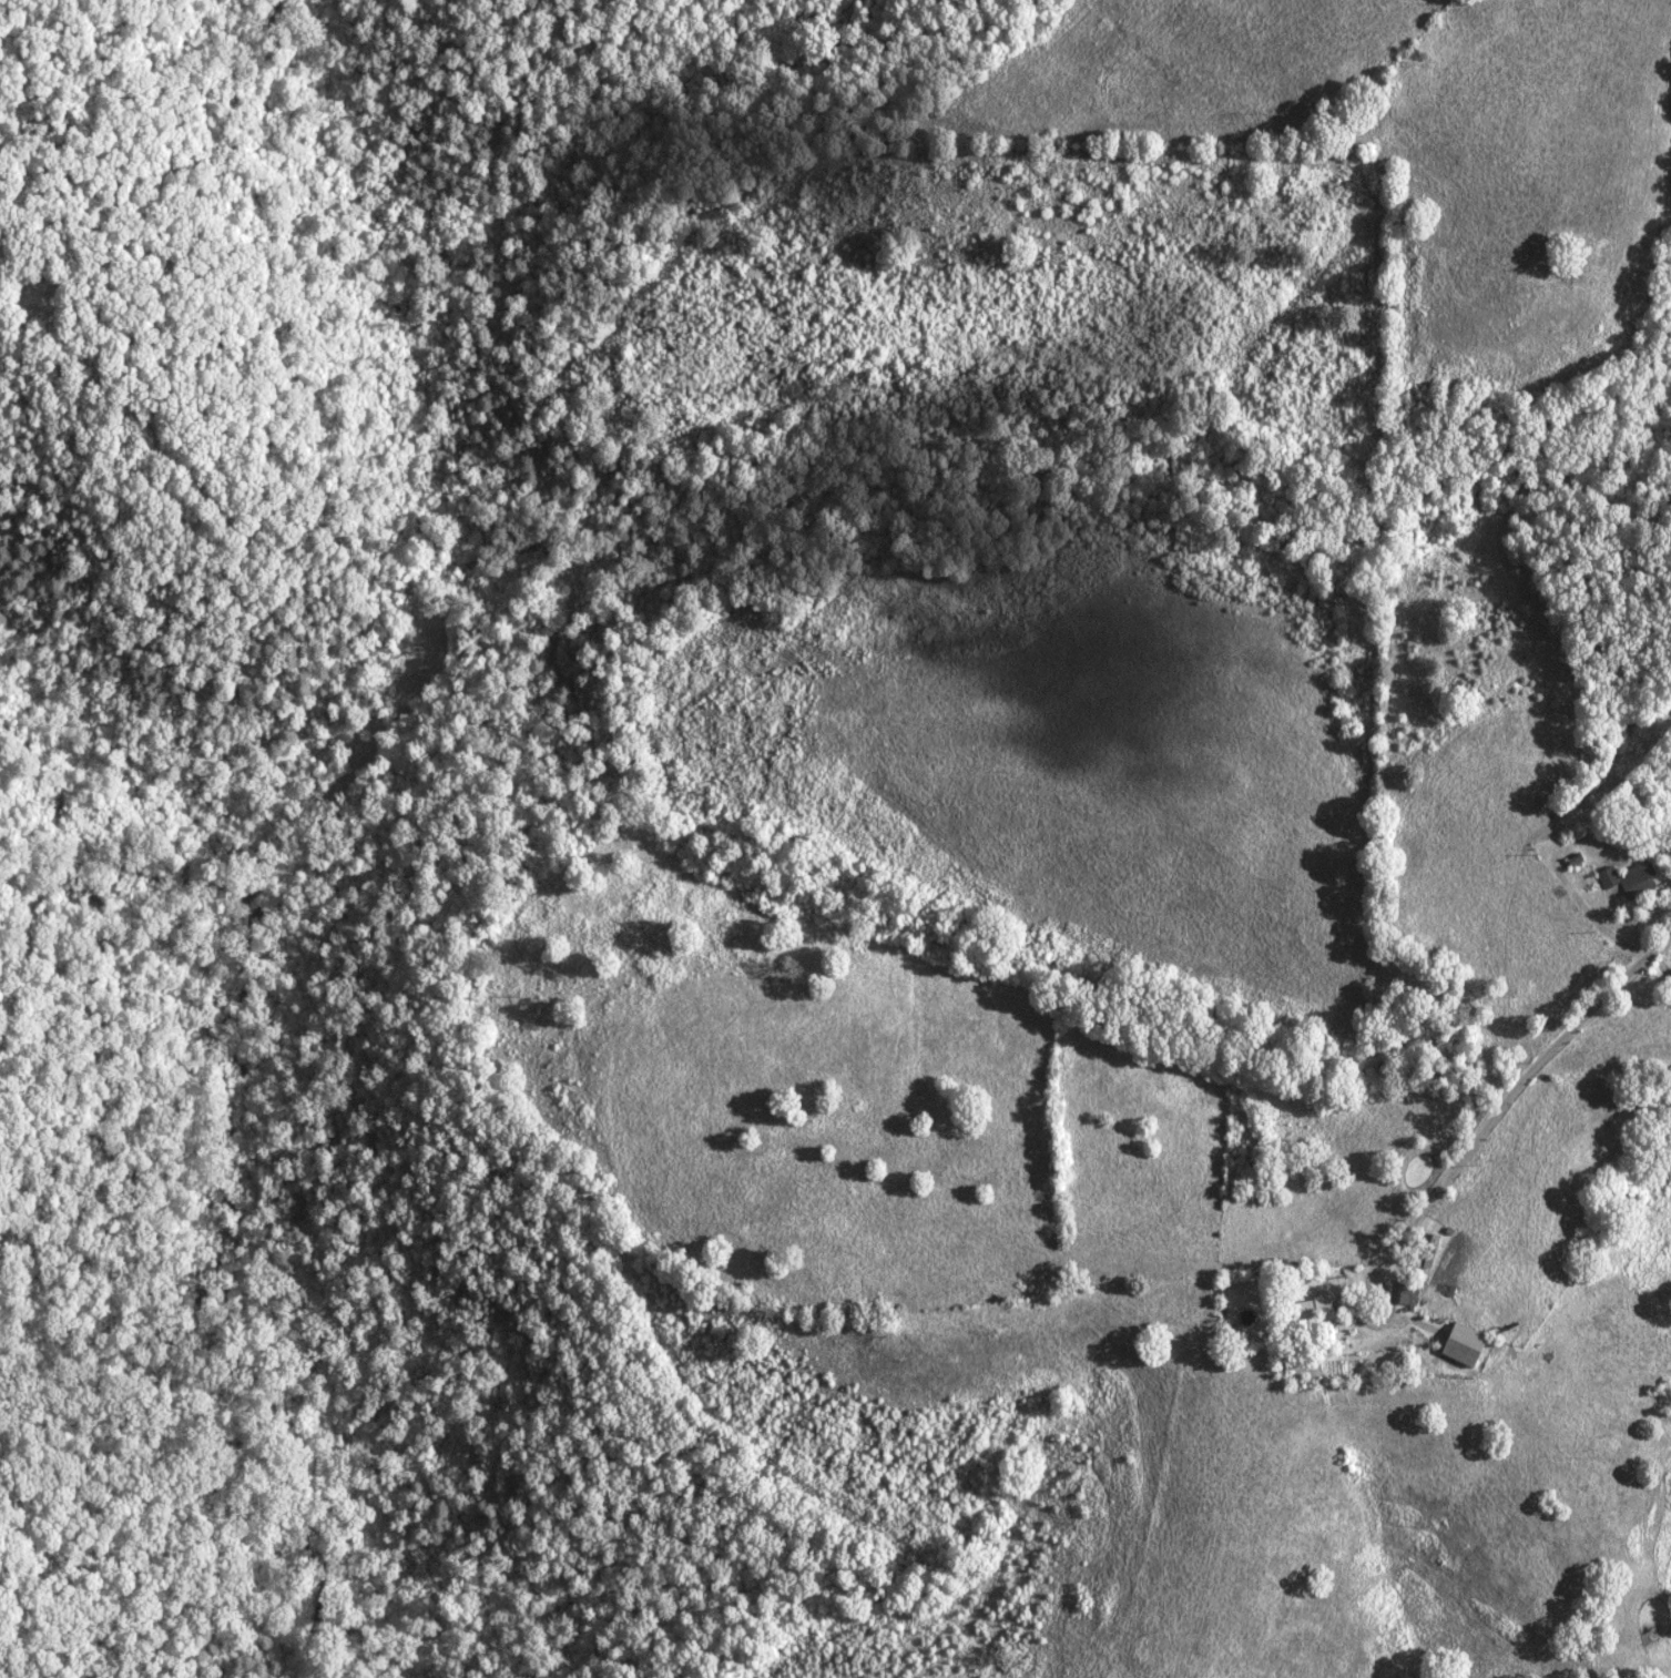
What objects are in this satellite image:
building: (1628, 876)
road: (1531, 1072)
building: (1410, 1291)
road: (1363, 1319)
building: (1469, 1343)

